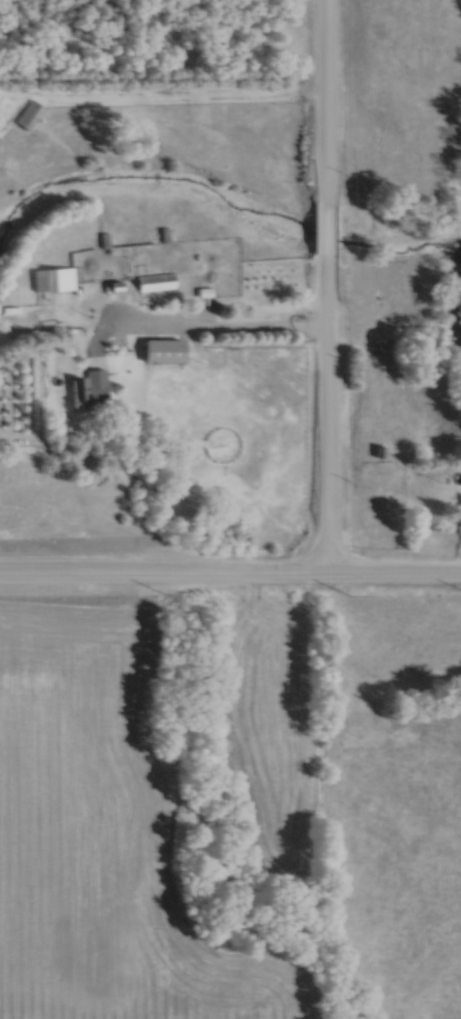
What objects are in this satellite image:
building: (31, 114)
building: (54, 279)
building: (155, 282)
road: (328, 289)
road: (241, 334)
building: (163, 349)
building: (91, 388)
road: (230, 577)

